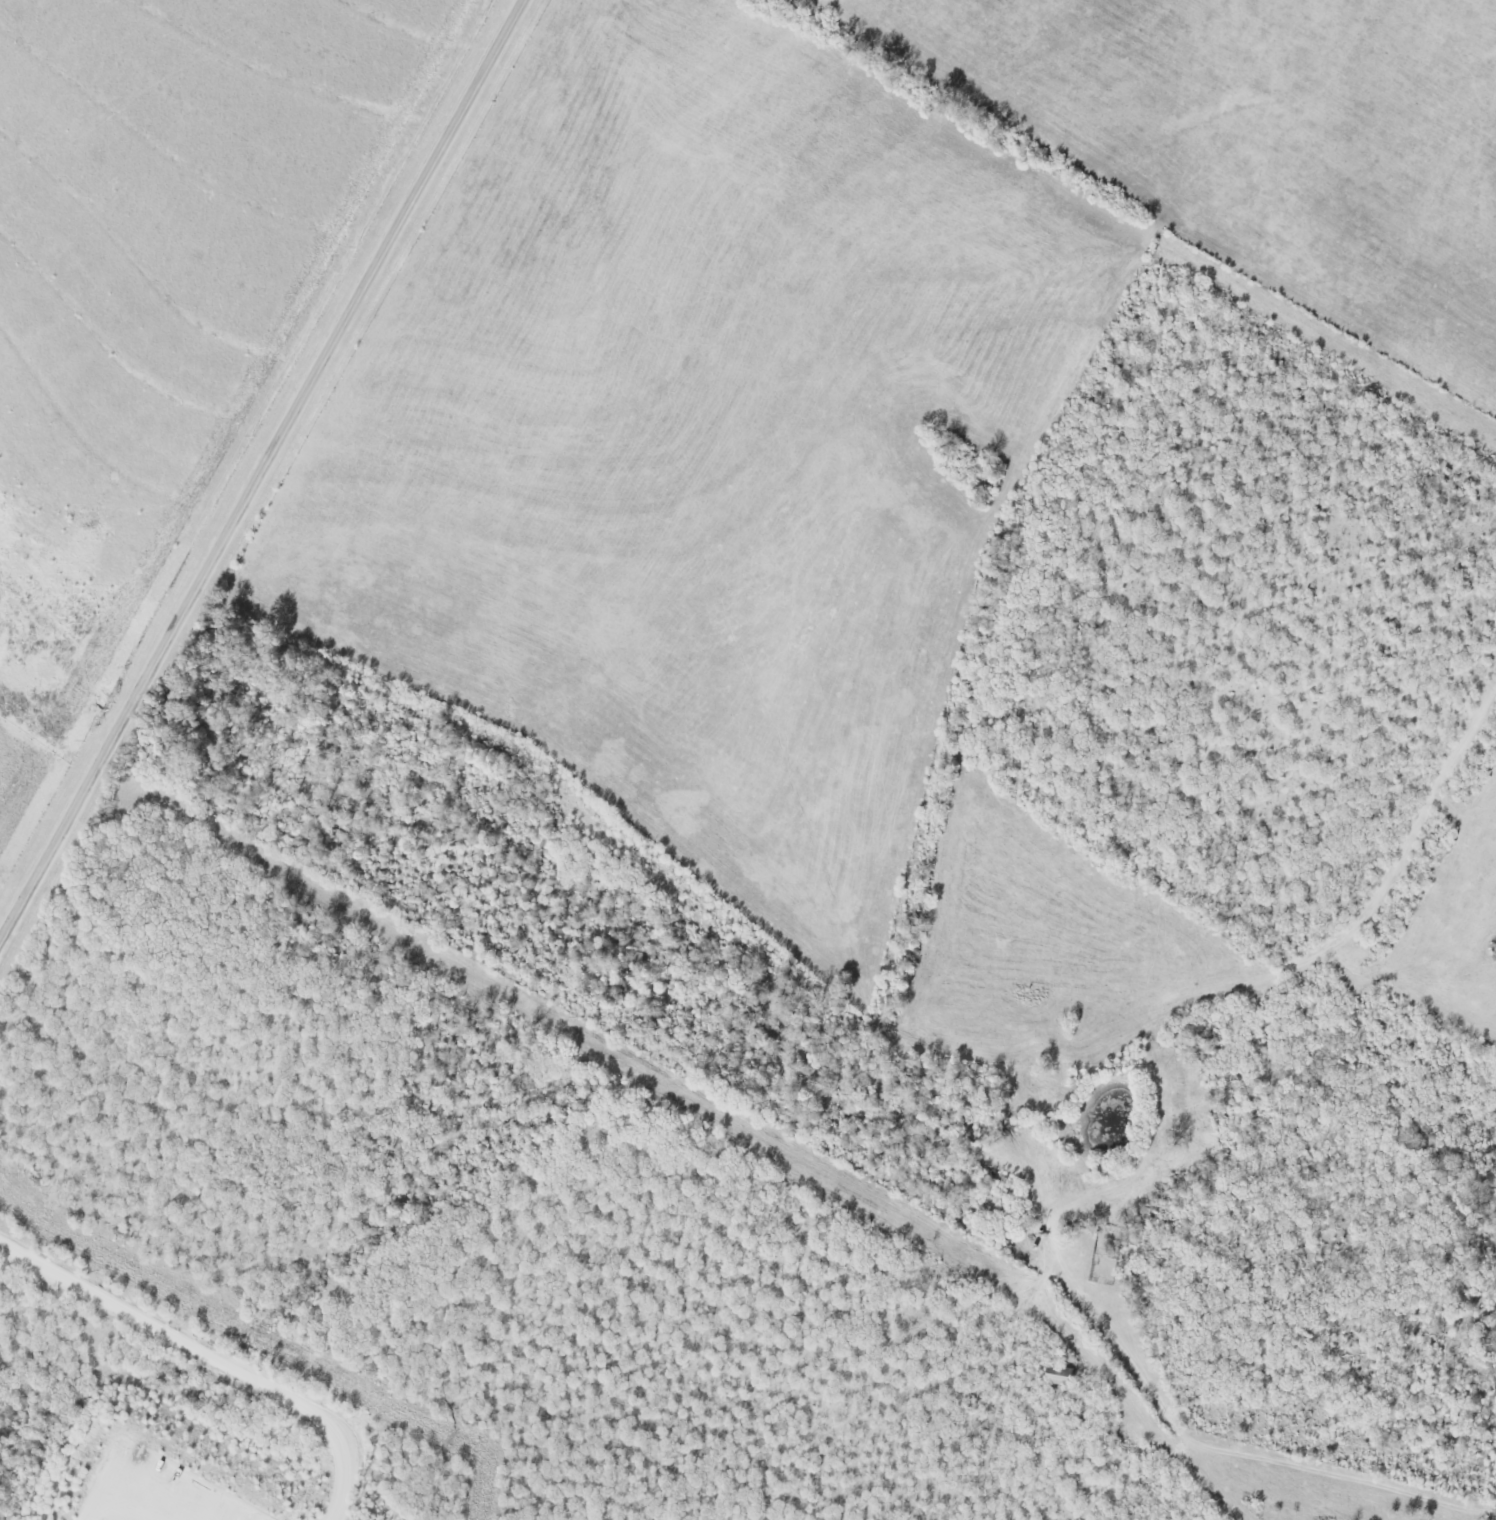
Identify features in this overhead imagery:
road: (264, 472)
road: (205, 1361)

